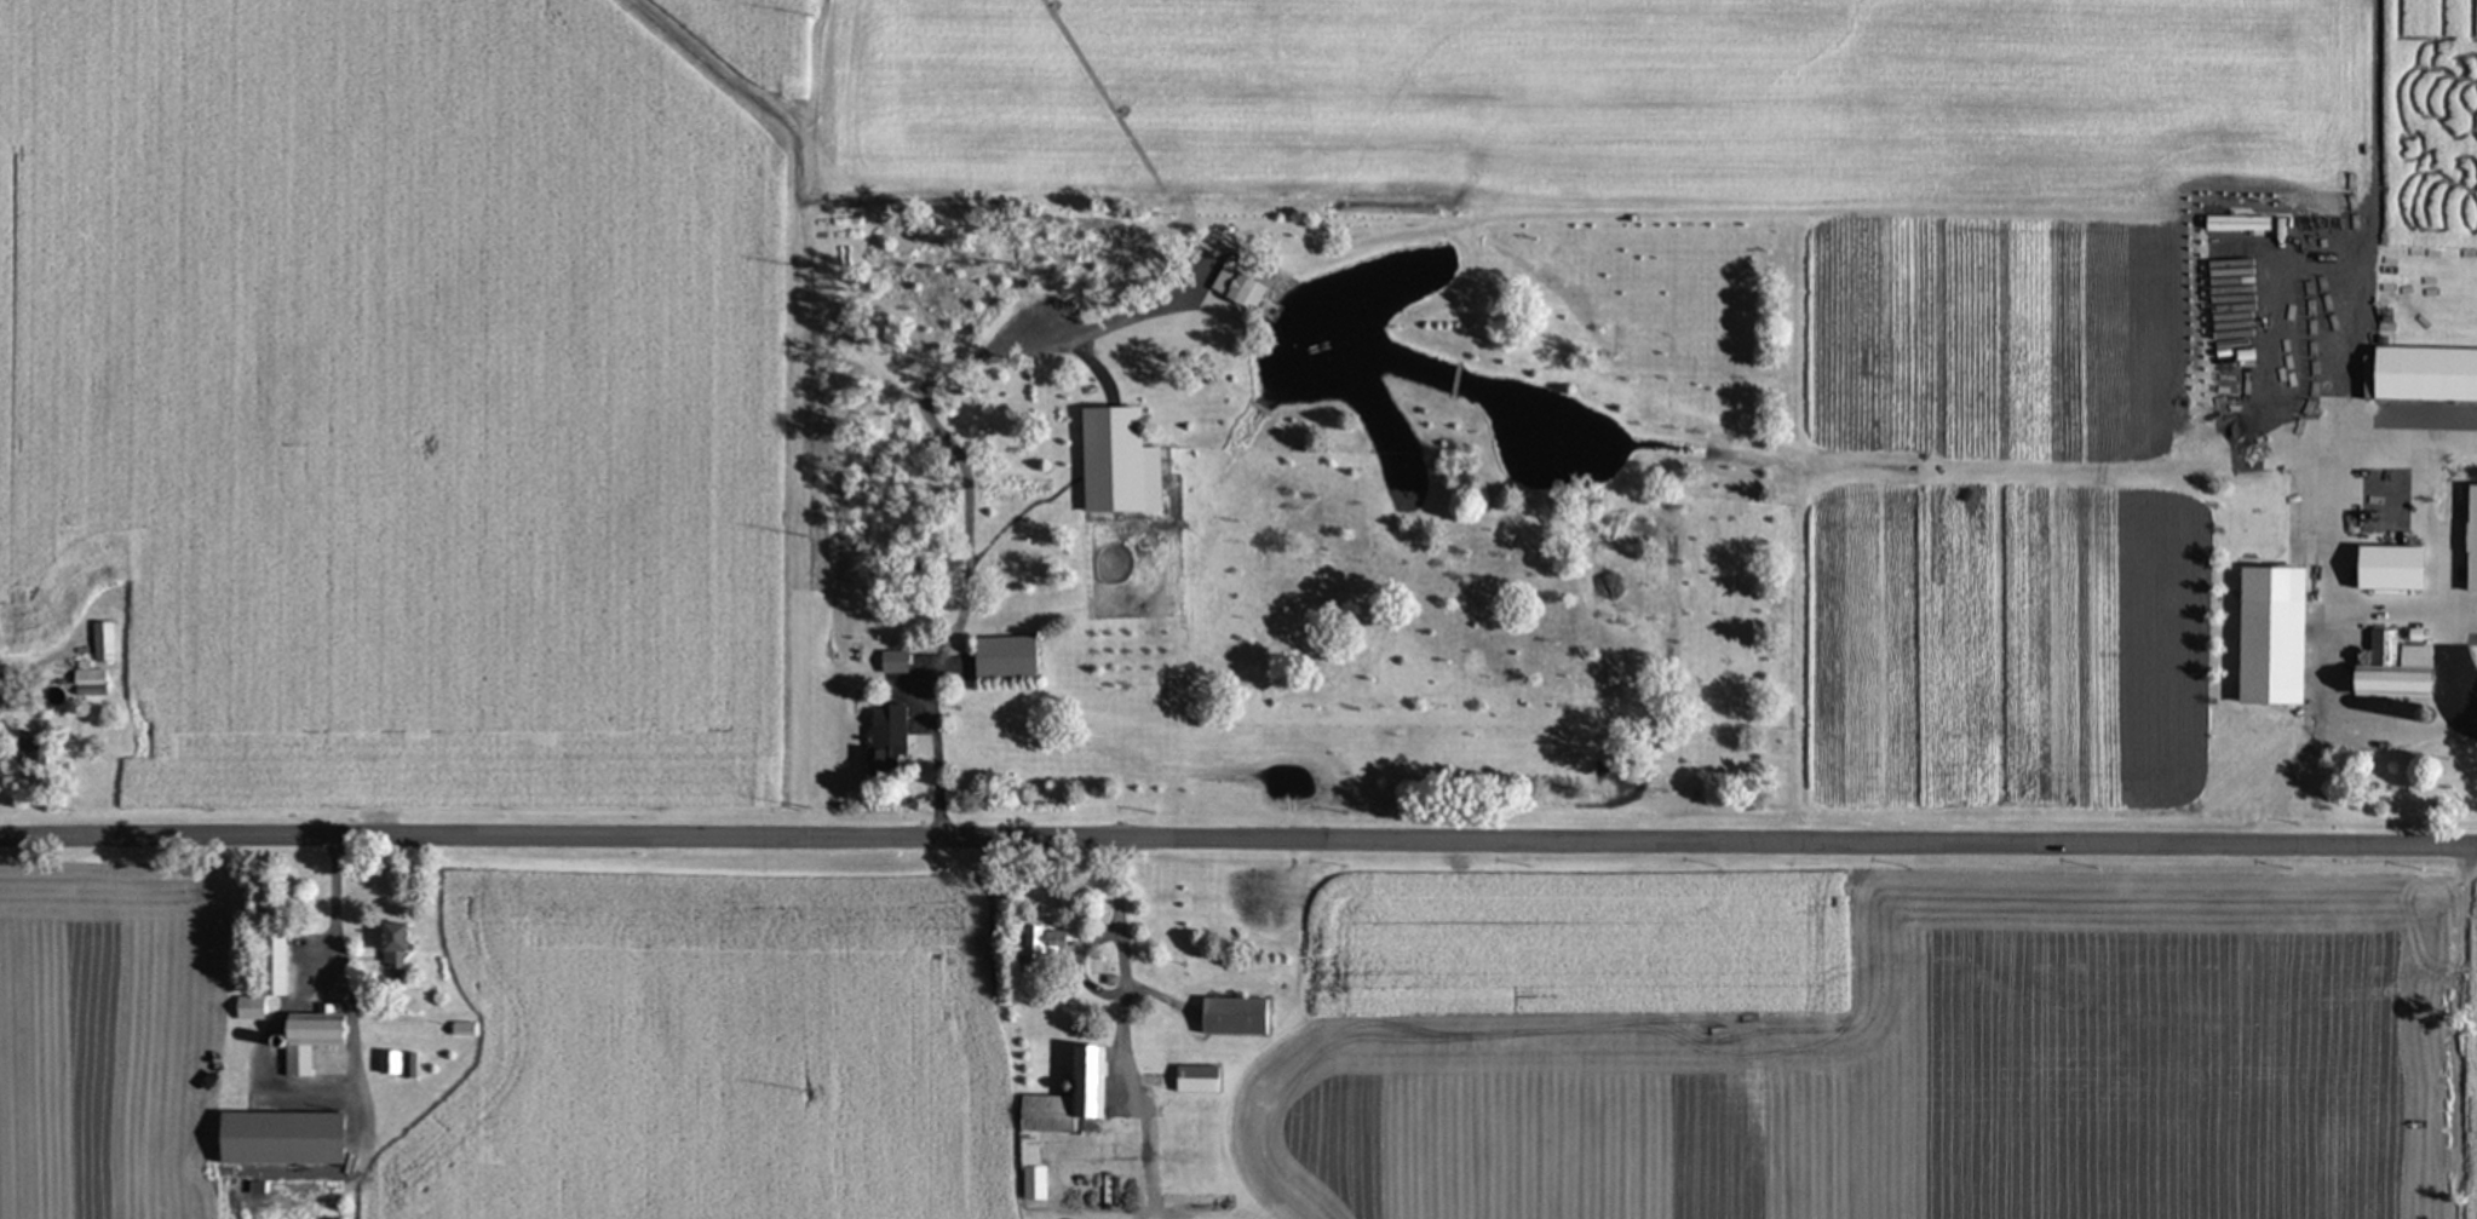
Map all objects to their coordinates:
road: (2356, 270)
building: (2429, 374)
building: (1120, 458)
road: (965, 499)
building: (2473, 541)
building: (2397, 570)
building: (30, 619)
building: (108, 640)
building: (2283, 640)
building: (163, 652)
building: (2421, 654)
building: (1012, 656)
building: (897, 661)
building: (2400, 669)
building: (94, 677)
building: (2419, 713)
building: (886, 738)
road: (1237, 849)
building: (401, 942)
building: (1050, 943)
building: (270, 977)
road: (1111, 1005)
building: (1240, 1016)
building: (466, 1028)
building: (315, 1037)
building: (400, 1063)
building: (1201, 1079)
building: (1063, 1114)
building: (287, 1138)

